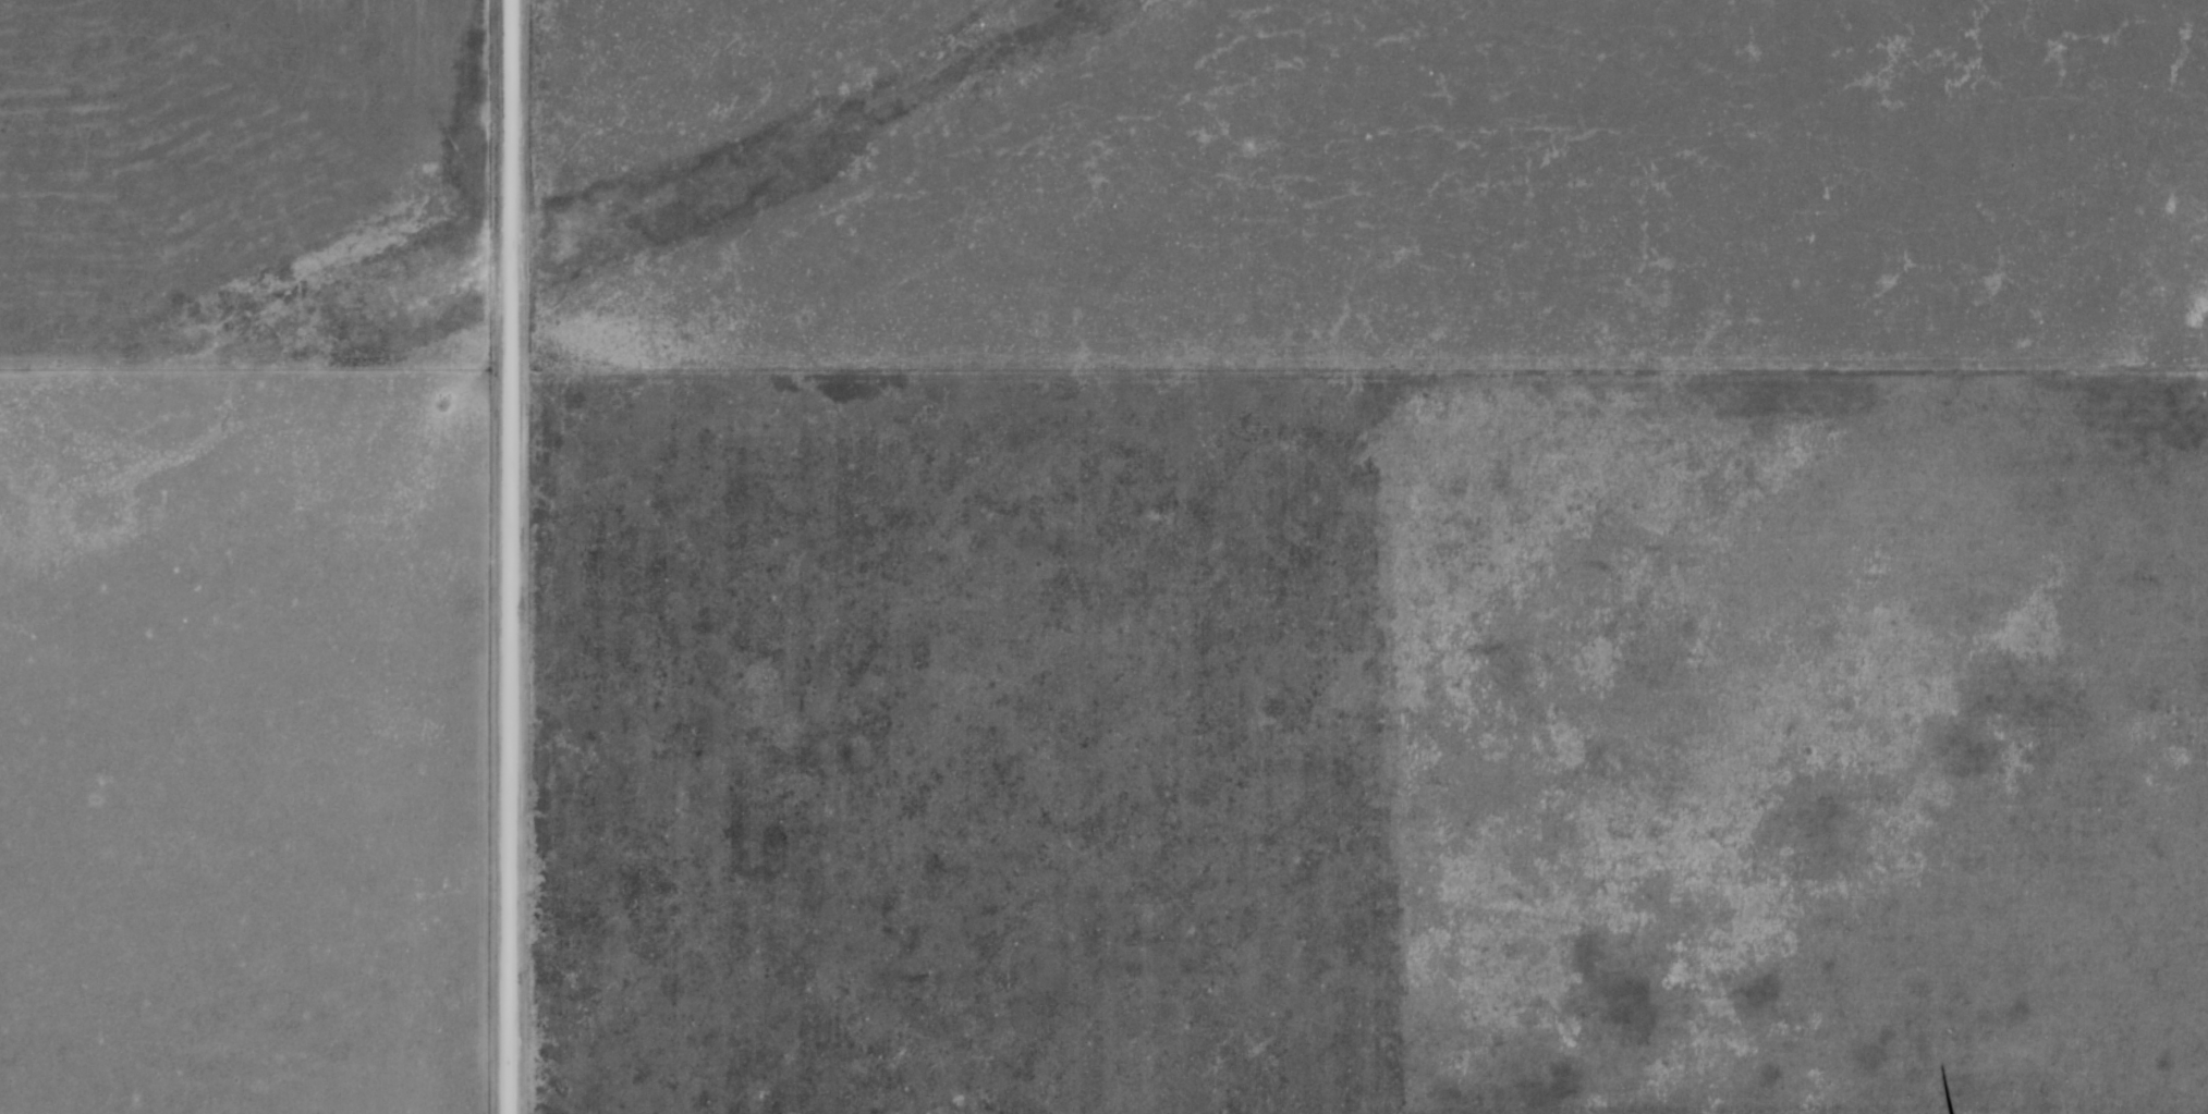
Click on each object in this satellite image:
road: (510, 556)

